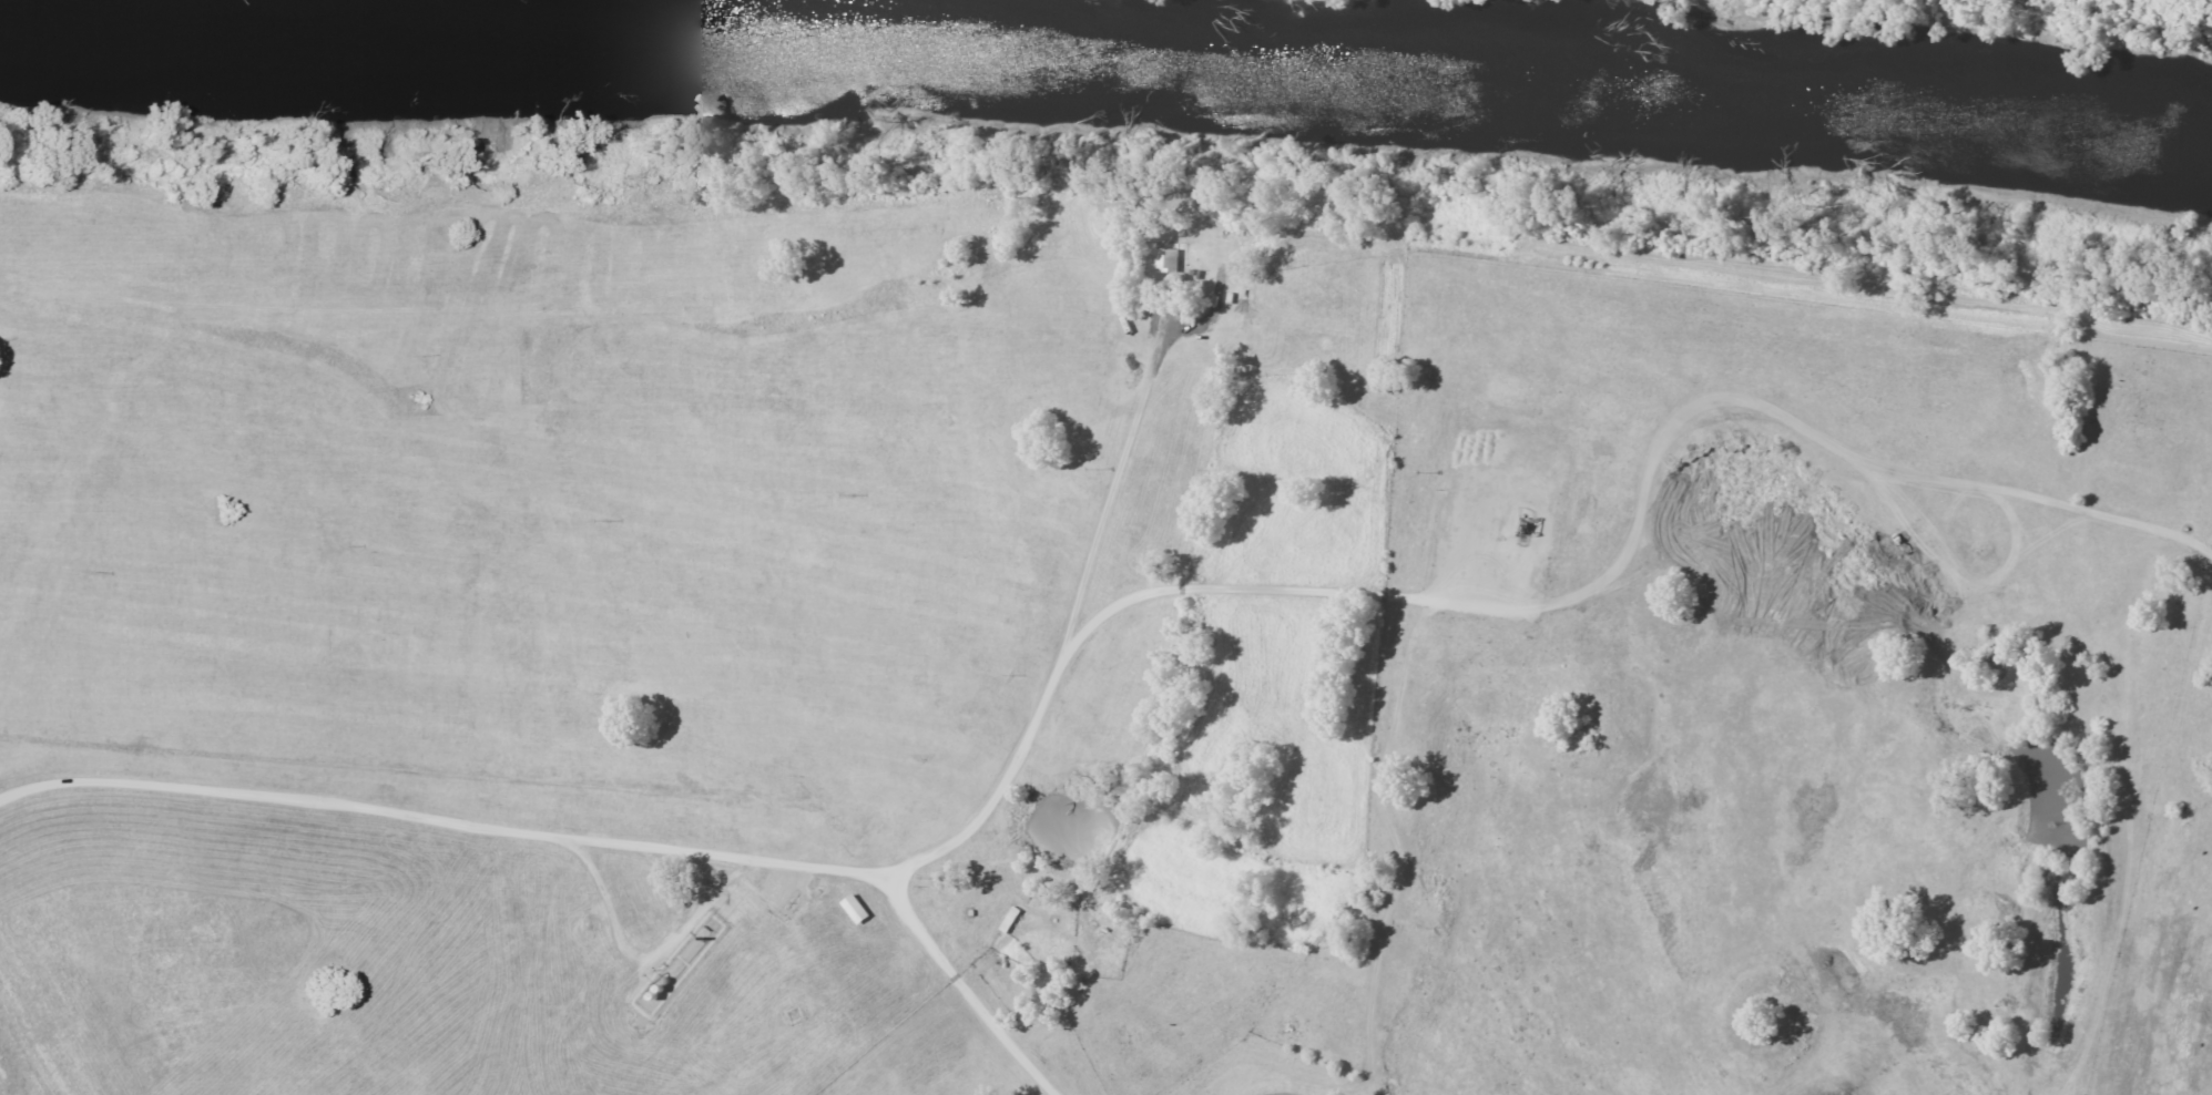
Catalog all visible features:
river: (1111, 41)
petroleum well: (1527, 519)
road: (583, 833)

